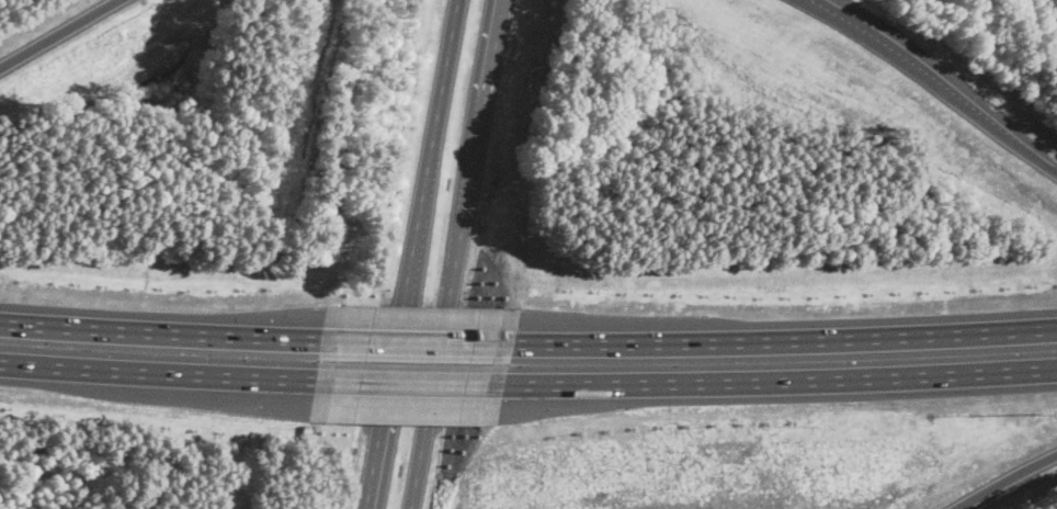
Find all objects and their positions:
road: (58, 32)
road: (935, 81)
road: (412, 255)
road: (457, 255)
road: (161, 329)
road: (418, 338)
road: (784, 338)
road: (158, 370)
road: (780, 375)
road: (410, 378)
road: (1003, 478)

